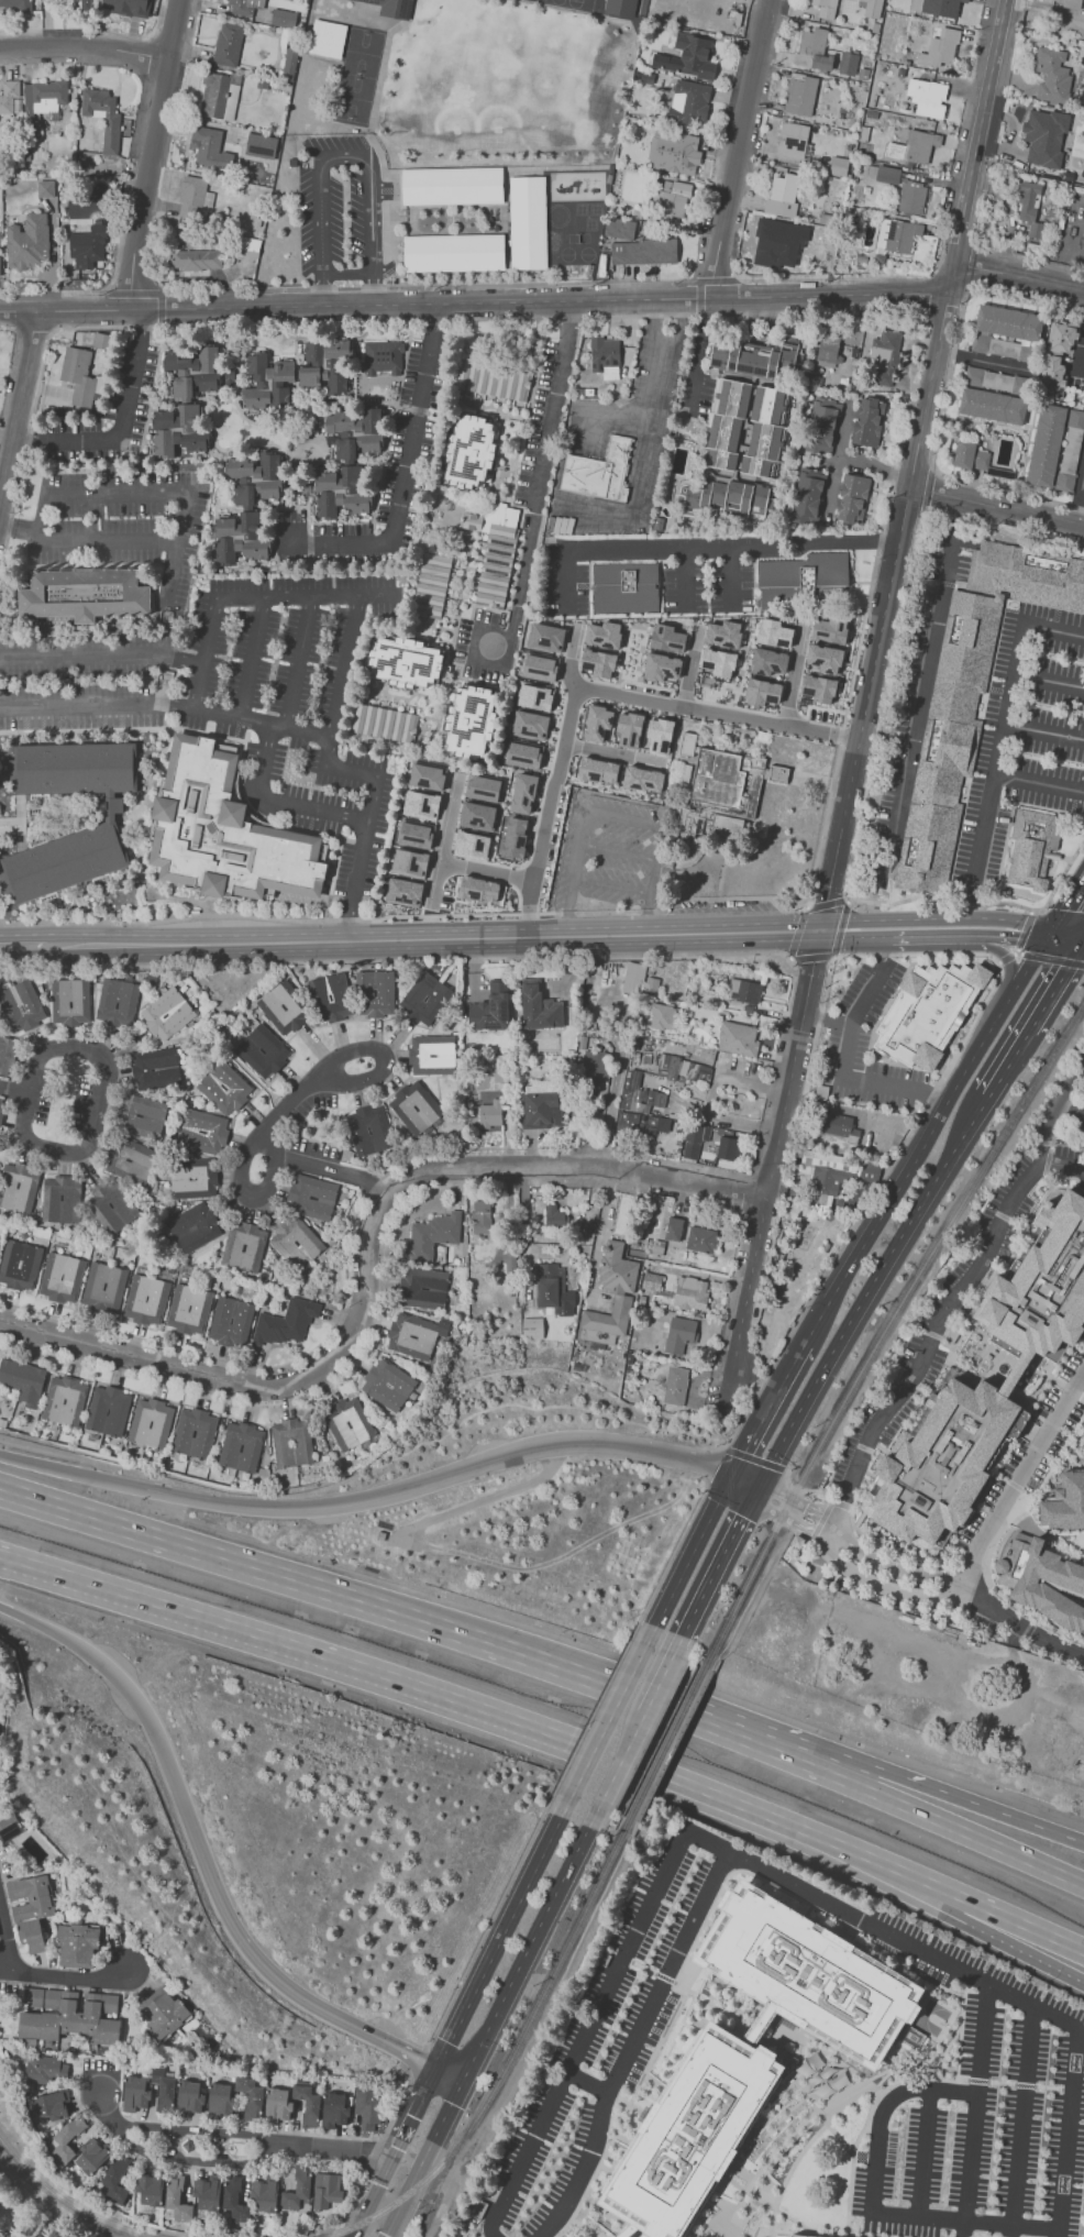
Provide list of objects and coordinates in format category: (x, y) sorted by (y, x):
building: (1068, 2)
building: (85, 4)
building: (15, 5)
building: (126, 7)
building: (244, 7)
building: (871, 7)
building: (394, 8)
building: (624, 8)
building: (825, 8)
building: (941, 8)
building: (284, 18)
building: (328, 38)
building: (228, 43)
road: (85, 44)
building: (939, 48)
building: (812, 49)
park: (364, 53)
building: (686, 57)
building: (289, 60)
building: (848, 63)
building: (1052, 75)
building: (800, 93)
building: (219, 96)
building: (927, 97)
building: (44, 98)
park: (355, 98)
building: (9, 100)
building: (688, 101)
building: (103, 117)
building: (1044, 136)
building: (793, 140)
building: (261, 145)
building: (914, 146)
road: (982, 146)
building: (209, 148)
road: (738, 148)
building: (673, 152)
road: (148, 153)
road: (343, 153)
building: (838, 166)
building: (887, 174)
building: (453, 187)
building: (45, 188)
building: (782, 195)
building: (193, 196)
building: (911, 197)
building: (668, 199)
building: (1030, 208)
building: (529, 223)
building: (619, 228)
building: (900, 235)
building: (27, 241)
building: (87, 247)
building: (643, 251)
building: (454, 254)
building: (197, 260)
building: (0, 274)
road: (347, 274)
road: (1022, 274)
road: (831, 295)
road: (420, 301)
road: (66, 312)
building: (1008, 322)
building: (1061, 338)
building: (101, 340)
road: (666, 345)
building: (1000, 348)
building: (827, 350)
road: (698, 352)
building: (605, 356)
building: (885, 356)
building: (383, 357)
building: (754, 357)
road: (982, 360)
building: (324, 365)
building: (196, 371)
building: (1052, 374)
building: (80, 377)
building: (996, 381)
building: (267, 382)
road: (943, 399)
road: (16, 403)
building: (992, 406)
road: (119, 421)
building: (867, 421)
building: (726, 423)
building: (822, 425)
building: (177, 430)
building: (766, 431)
road: (841, 436)
building: (1054, 448)
building: (469, 451)
building: (974, 459)
road: (849, 461)
road: (407, 462)
building: (347, 463)
building: (600, 472)
building: (255, 477)
road: (157, 493)
building: (807, 494)
building: (726, 497)
building: (852, 498)
road: (996, 505)
road: (1080, 506)
road: (903, 515)
road: (532, 528)
road: (19, 529)
building: (239, 538)
road: (108, 542)
road: (706, 547)
building: (494, 551)
building: (1026, 575)
road: (684, 580)
building: (801, 580)
building: (431, 584)
building: (627, 587)
road: (376, 594)
building: (82, 595)
road: (281, 596)
building: (830, 630)
building: (723, 633)
building: (774, 633)
building: (602, 635)
building: (545, 637)
building: (666, 638)
road: (202, 657)
road: (571, 657)
road: (100, 658)
road: (251, 658)
building: (823, 658)
road: (298, 661)
building: (768, 661)
building: (403, 662)
building: (598, 662)
building: (718, 662)
building: (539, 666)
building: (661, 666)
road: (926, 680)
road: (1050, 681)
road: (339, 686)
building: (819, 688)
road: (591, 690)
building: (762, 692)
building: (534, 696)
road: (75, 704)
road: (240, 718)
building: (468, 721)
building: (384, 723)
building: (597, 724)
building: (530, 725)
building: (629, 729)
road: (1044, 731)
parking lot: (1029, 734)
road: (213, 735)
building: (660, 736)
building: (948, 741)
road: (1002, 742)
road: (267, 751)
building: (523, 754)
road: (869, 765)
building: (597, 770)
road: (352, 771)
building: (427, 775)
building: (643, 779)
road: (1040, 783)
building: (483, 787)
building: (723, 792)
road: (266, 793)
building: (523, 793)
road: (240, 797)
road: (369, 804)
building: (421, 804)
road: (323, 811)
road: (250, 813)
building: (477, 816)
building: (223, 830)
building: (416, 835)
road: (839, 835)
building: (515, 837)
building: (86, 838)
road: (444, 840)
building: (472, 845)
building: (1031, 847)
building: (410, 863)
road: (487, 870)
road: (356, 871)
building: (478, 889)
building: (403, 892)
road: (210, 905)
road: (1063, 912)
road: (276, 918)
road: (347, 918)
road: (952, 918)
traffic signals: (1054, 927)
traffic signals: (819, 932)
road: (582, 936)
road: (931, 938)
road: (849, 939)
road: (1013, 939)
traffic signals: (1083, 941)
road: (1064, 943)
road: (172, 944)
traffic signals: (1044, 945)
road: (1028, 954)
road: (847, 955)
road: (793, 957)
road: (1006, 957)
road: (395, 959)
road: (1008, 961)
road: (1027, 971)
road: (810, 972)
building: (633, 977)
road: (1057, 985)
building: (744, 990)
building: (375, 993)
building: (331, 998)
building: (424, 999)
building: (119, 1000)
building: (70, 1001)
building: (539, 1006)
building: (283, 1007)
building: (490, 1009)
building: (927, 1012)
building: (167, 1013)
building: (662, 1016)
road: (826, 1018)
building: (737, 1038)
building: (262, 1050)
building: (5, 1054)
building: (432, 1055)
road: (844, 1058)
road: (1009, 1064)
building: (155, 1068)
building: (683, 1068)
road: (616, 1083)
building: (224, 1088)
road: (15, 1089)
road: (298, 1093)
road: (785, 1102)
building: (1, 1105)
building: (414, 1108)
road: (99, 1109)
building: (641, 1109)
building: (540, 1110)
road: (1071, 1112)
building: (490, 1113)
road: (1055, 1113)
building: (143, 1115)
building: (841, 1126)
building: (368, 1129)
building: (202, 1132)
building: (694, 1140)
building: (728, 1148)
building: (132, 1159)
road: (320, 1165)
road: (909, 1172)
building: (836, 1178)
building: (192, 1179)
building: (19, 1187)
building: (311, 1197)
building: (60, 1199)
building: (112, 1206)
road: (862, 1211)
building: (480, 1216)
building: (550, 1216)
building: (192, 1227)
building: (673, 1228)
building: (432, 1234)
building: (703, 1239)
building: (297, 1242)
building: (244, 1246)
road: (364, 1259)
building: (509, 1263)
building: (20, 1265)
building: (616, 1268)
building: (62, 1277)
building: (651, 1281)
building: (103, 1286)
building: (422, 1288)
building: (553, 1289)
road: (870, 1291)
building: (689, 1292)
building: (1044, 1292)
road: (749, 1296)
building: (145, 1300)
building: (188, 1309)
railway: (882, 1310)
railway: (886, 1318)
building: (231, 1321)
building: (606, 1321)
building: (286, 1322)
road: (941, 1324)
railway: (888, 1326)
building: (532, 1327)
building: (413, 1335)
building: (679, 1335)
building: (576, 1366)
road: (760, 1369)
building: (1019, 1378)
building: (23, 1379)
building: (387, 1385)
building: (675, 1385)
building: (64, 1400)
building: (107, 1410)
road: (767, 1410)
building: (151, 1422)
building: (347, 1423)
building: (193, 1432)
building: (291, 1442)
road: (611, 1443)
building: (241, 1446)
road: (753, 1458)
building: (943, 1463)
road: (707, 1464)
road: (73, 1474)
traffic signals: (731, 1477)
road: (1020, 1480)
road: (744, 1484)
road: (794, 1488)
traffic signals: (146, 1490)
traffic signals: (759, 1490)
road: (487, 1497)
building: (1064, 1501)
road: (840, 1503)
road: (796, 1505)
road: (321, 1509)
road: (787, 1520)
road: (820, 1521)
road: (828, 1533)
road: (671, 1557)
road: (687, 1562)
road: (718, 1566)
road: (887, 1569)
building: (1041, 1582)
road: (884, 1586)
road: (323, 1589)
road: (1019, 1623)
road: (79, 1646)
road: (675, 1649)
road: (661, 1679)
road: (479, 1707)
road: (590, 1715)
road: (607, 1722)
road: (729, 1731)
railway: (670, 1738)
railway: (650, 1740)
railway: (660, 1741)
road: (623, 1756)
road: (870, 1768)
road: (1004, 1812)
road: (189, 1820)
road: (948, 1825)
building: (9, 1827)
road: (773, 1876)
road: (812, 1905)
road: (958, 1908)
building: (31, 1909)
road: (808, 1911)
road: (490, 1918)
road: (1016, 1920)
road: (710, 1922)
road: (10, 1930)
road: (504, 1932)
building: (77, 1943)
road: (530, 1944)
road: (869, 1950)
railway: (543, 1952)
railway: (552, 1953)
road: (1026, 1954)
road: (693, 1962)
road: (649, 1968)
road: (899, 1970)
road: (71, 1976)
road: (276, 1976)
building: (807, 1976)
railway: (546, 1988)
building: (163, 2013)
road: (748, 2015)
building: (73, 2017)
road: (745, 2026)
road: (961, 2026)
road: (759, 2029)
road: (380, 2039)
traffic signals: (450, 2043)
road: (631, 2045)
road: (800, 2051)
road: (945, 2051)
road: (833, 2052)
traffic signals: (417, 2057)
road: (418, 2062)
building: (45, 2069)
road: (887, 2070)
road: (450, 2074)
road: (589, 2080)
road: (903, 2080)
road: (656, 2082)
building: (163, 2091)
building: (135, 2093)
building: (189, 2096)
building: (251, 2096)
building: (220, 2100)
building: (307, 2103)
traffic signals: (451, 2103)
building: (277, 2104)
road: (630, 2104)
building: (49, 2105)
road: (106, 2106)
road: (628, 2106)
building: (368, 2107)
road: (396, 2107)
road: (417, 2109)
road: (975, 2109)
building: (333, 2111)
road: (441, 2122)
road: (1022, 2122)
road: (201, 2130)
building: (67, 2137)
building: (690, 2138)
road: (842, 2139)
road: (784, 2141)
road: (345, 2147)
building: (923, 2151)
road: (372, 2155)
road: (925, 2155)
building: (91, 2156)
building: (971, 2157)
road: (409, 2158)
road: (798, 2158)
road: (196, 2160)
road: (734, 2162)
building: (114, 2180)
building: (148, 2189)
building: (297, 2189)
building: (327, 2190)
building: (206, 2193)
road: (716, 2193)
road: (375, 2194)
road: (775, 2194)
building: (264, 2195)
railway: (60, 2197)
road: (352, 2199)
road: (742, 2199)
building: (176, 2200)
road: (403, 2200)
building: (233, 2201)
railway: (396, 2202)
road: (51, 2203)
road: (870, 2206)
road: (748, 2214)
road: (773, 2218)
road: (757, 2222)
road: (798, 2222)
road: (582, 2225)
road: (770, 2227)
road: (564, 2228)
road: (336, 2229)
road: (950, 2229)
road: (703, 2230)
road: (617, 2233)
road: (624, 2233)
road: (816, 2233)
building: (4, 2235)
road: (615, 2235)
building: (797, 2236)

